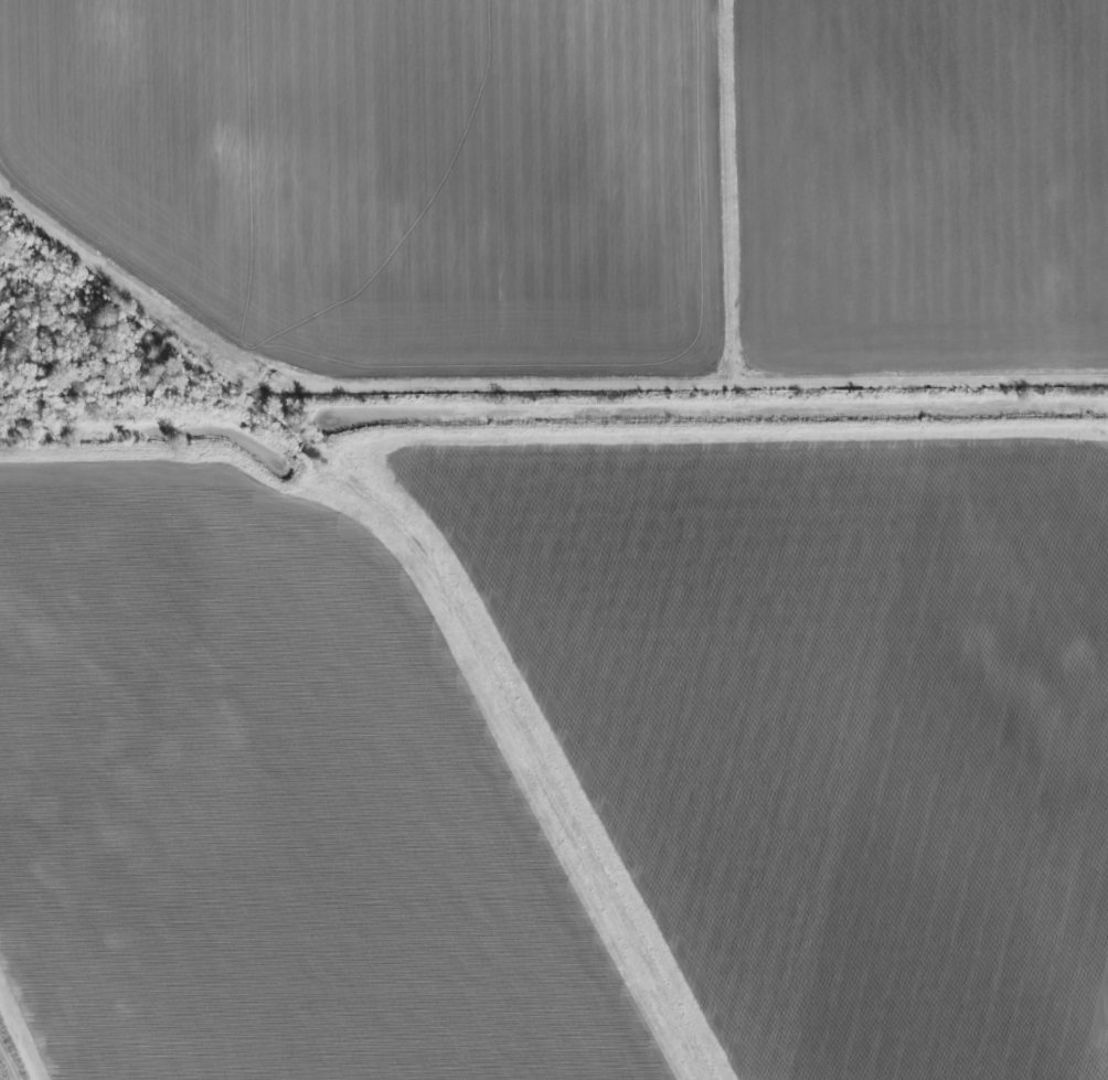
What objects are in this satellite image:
road: (735, 193)
road: (99, 377)
road: (520, 388)

